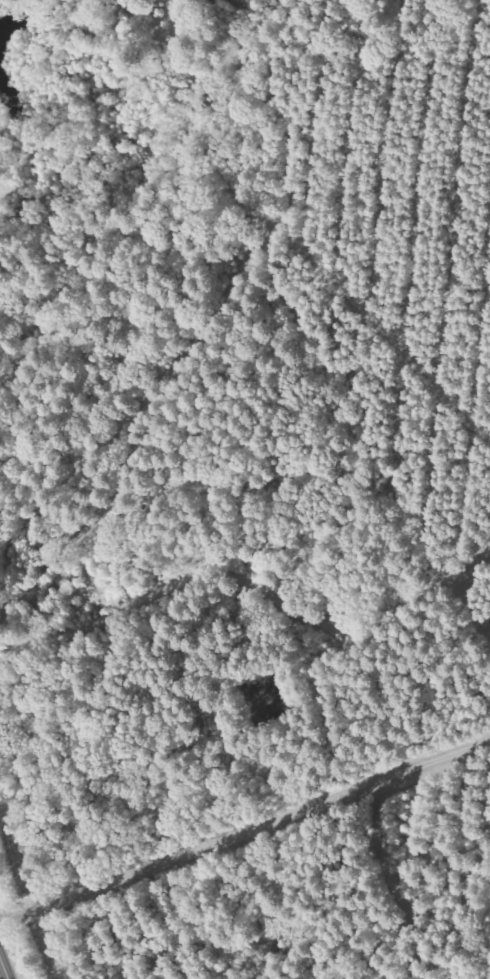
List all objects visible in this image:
road: (1, 976)

